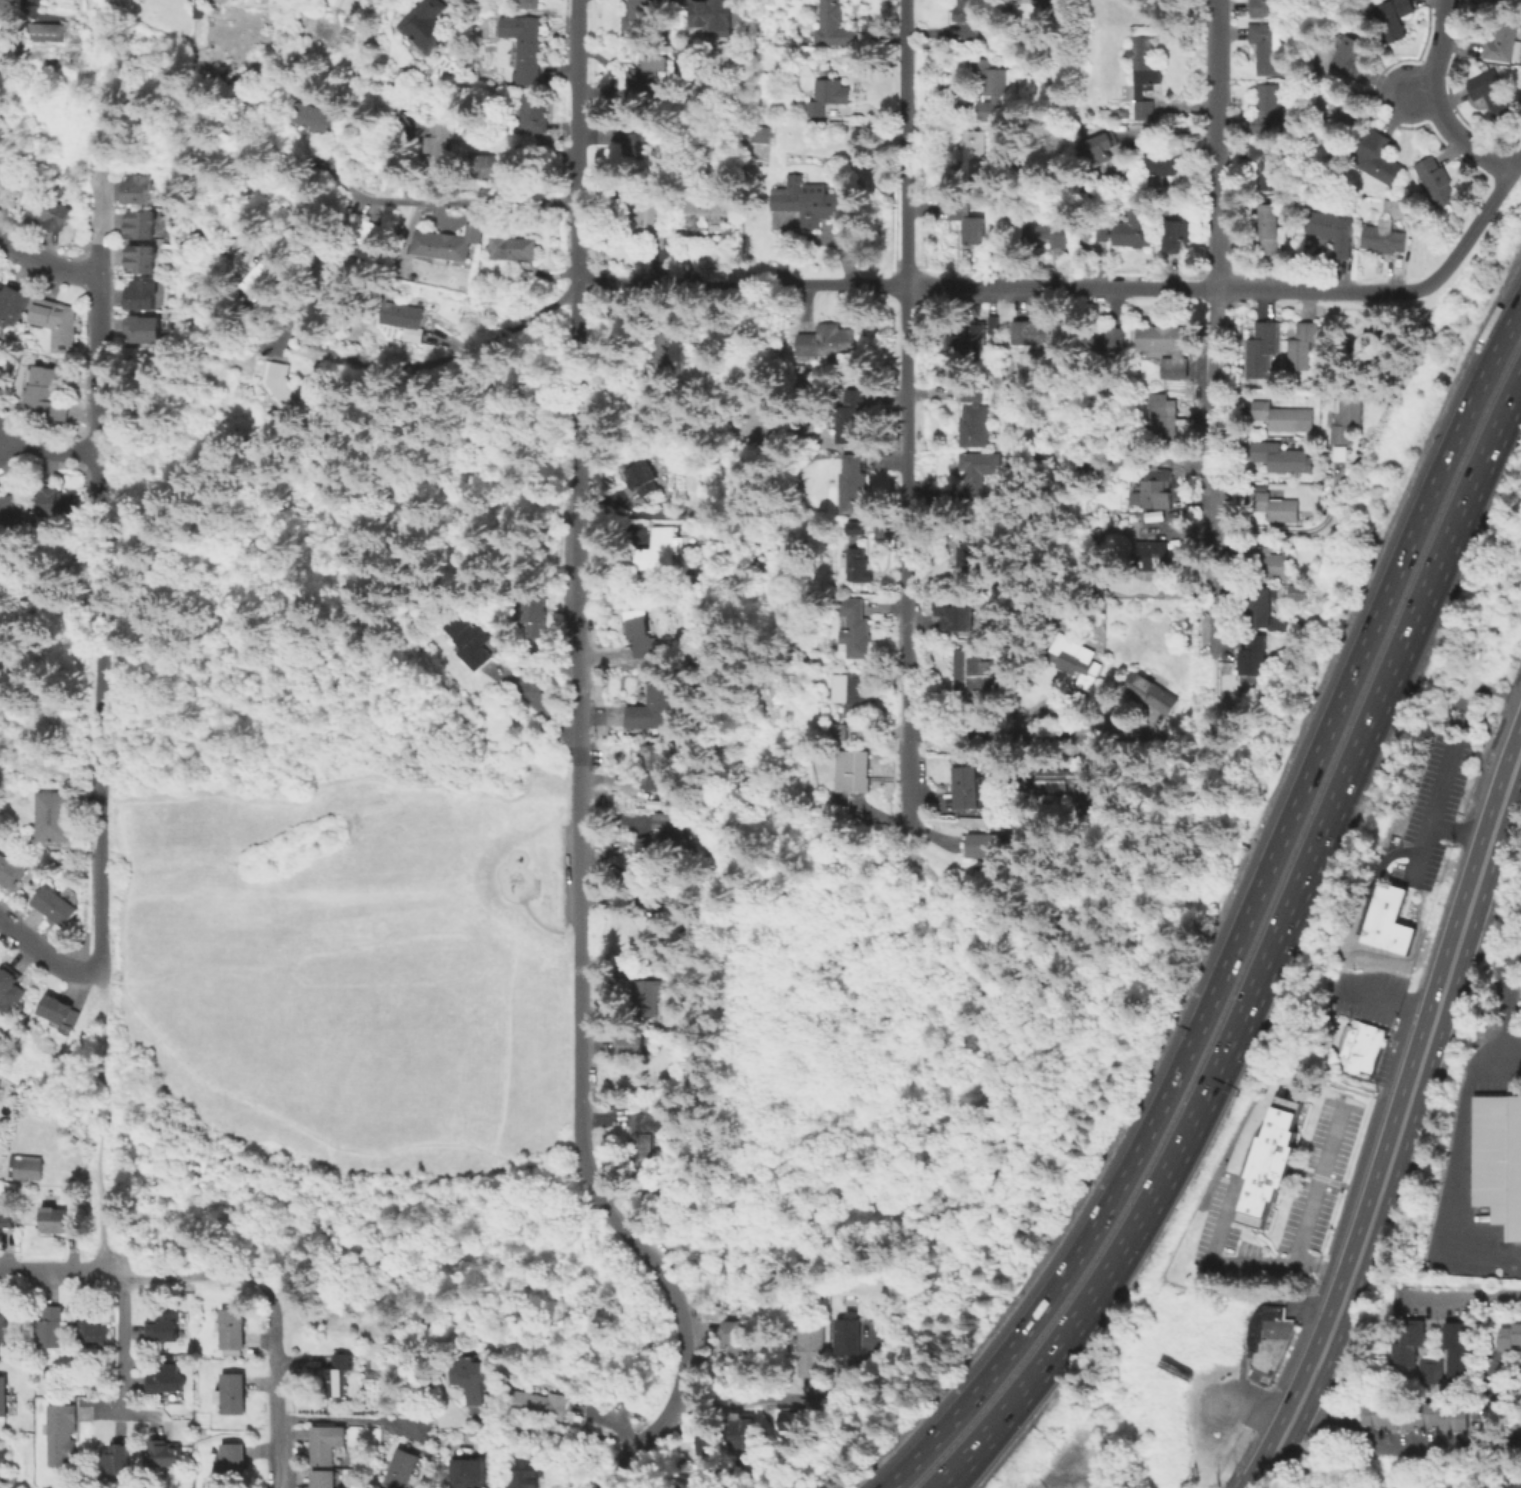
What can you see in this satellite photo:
building: (2, 3)
building: (529, 4)
building: (1050, 8)
building: (1267, 8)
building: (215, 11)
building: (710, 16)
building: (637, 18)
building: (970, 19)
building: (1401, 19)
building: (429, 24)
building: (833, 26)
building: (49, 32)
building: (1506, 36)
building: (525, 46)
building: (1270, 48)
building: (1352, 53)
building: (1146, 75)
building: (650, 78)
building: (991, 85)
road: (1422, 91)
building: (1495, 94)
building: (832, 95)
road: (1441, 102)
building: (1345, 110)
building: (1267, 111)
building: (1117, 113)
building: (529, 115)
building: (315, 117)
building: (762, 135)
building: (634, 141)
road: (904, 142)
road: (1217, 144)
building: (437, 146)
building: (1101, 147)
building: (973, 151)
building: (1380, 156)
building: (1166, 158)
building: (505, 164)
building: (1268, 165)
building: (1440, 181)
building: (11, 191)
building: (139, 191)
road: (470, 200)
building: (807, 200)
building: (710, 202)
building: (1398, 207)
building: (51, 213)
building: (647, 222)
building: (967, 223)
road: (1477, 223)
road: (99, 224)
building: (142, 227)
building: (1273, 229)
building: (373, 230)
building: (1126, 231)
building: (1335, 231)
building: (1047, 232)
building: (1179, 235)
road: (811, 236)
building: (1384, 238)
building: (451, 243)
building: (515, 248)
building: (142, 261)
road: (47, 262)
building: (270, 268)
road: (740, 283)
road: (1061, 286)
road: (1323, 290)
building: (141, 296)
building: (13, 304)
road: (99, 312)
building: (409, 316)
building: (57, 323)
building: (992, 325)
building: (144, 332)
building: (1038, 332)
building: (969, 341)
building: (1105, 341)
building: (829, 342)
building: (1375, 344)
storage tank: (1375, 344)
building: (1304, 345)
building: (673, 348)
building: (1168, 349)
building: (1262, 349)
building: (1344, 355)
building: (239, 360)
building: (807, 369)
road: (440, 371)
building: (1, 373)
water tower: (1344, 381)
building: (292, 391)
building: (45, 392)
building: (1277, 416)
building: (855, 417)
building: (973, 418)
building: (1163, 419)
building: (1350, 420)
road: (48, 448)
road: (98, 455)
building: (1278, 457)
building: (1094, 467)
building: (640, 473)
building: (978, 473)
road: (1215, 473)
road: (387, 479)
building: (854, 487)
building: (1156, 491)
building: (59, 502)
building: (14, 506)
building: (1279, 507)
building: (856, 529)
road: (1304, 530)
building: (661, 550)
road: (906, 555)
building: (971, 556)
building: (1157, 556)
building: (1273, 562)
building: (858, 564)
building: (704, 579)
building: (1299, 593)
building: (1265, 608)
building: (956, 615)
building: (541, 618)
building: (857, 629)
building: (641, 634)
building: (470, 640)
building: (1079, 655)
building: (1259, 656)
park: (42, 666)
building: (982, 672)
building: (854, 693)
building: (1155, 693)
building: (654, 706)
road: (993, 731)
road: (99, 765)
building: (657, 765)
road: (580, 772)
building: (856, 772)
building: (1059, 785)
building: (968, 789)
building: (1022, 789)
road: (1432, 806)
building: (55, 819)
building: (665, 819)
road: (1457, 832)
park: (340, 845)
building: (665, 846)
building: (991, 846)
building: (13, 871)
road: (913, 872)
building: (55, 908)
building: (670, 911)
road: (1244, 916)
building: (1388, 919)
road: (535, 921)
road: (851, 945)
road: (1268, 952)
road: (45, 957)
road: (100, 977)
building: (674, 982)
road: (106, 985)
road: (115, 986)
road: (1505, 988)
building: (10, 991)
building: (646, 996)
road: (1381, 1003)
building: (57, 1011)
building: (1359, 1046)
building: (637, 1047)
road: (102, 1064)
road: (1397, 1126)
building: (645, 1133)
road: (339, 1150)
building: (1499, 1158)
building: (1269, 1161)
building: (27, 1169)
road: (1457, 1171)
road: (1315, 1185)
road: (103, 1211)
road: (609, 1212)
building: (5, 1219)
building: (55, 1222)
road: (1341, 1249)
road: (1235, 1266)
road: (61, 1270)
road: (195, 1276)
road: (1463, 1300)
building: (881, 1312)
building: (91, 1327)
building: (52, 1329)
building: (165, 1329)
building: (233, 1329)
building: (5, 1334)
building: (848, 1335)
building: (1509, 1335)
building: (736, 1339)
building: (1266, 1340)
building: (1407, 1341)
road: (122, 1343)
building: (810, 1348)
building: (1457, 1353)
building: (1430, 1370)
building: (338, 1376)
building: (470, 1377)
building: (166, 1381)
road: (274, 1387)
building: (234, 1396)
building: (4, 1399)
road: (748, 1403)
building: (540, 1404)
building: (1415, 1415)
road: (345, 1418)
building: (1518, 1419)
building: (793, 1420)
building: (739, 1432)
building: (63, 1437)
road: (1421, 1440)
building: (707, 1442)
building: (328, 1443)
building: (165, 1455)
building: (117, 1461)
building: (233, 1463)
road: (727, 1470)
building: (406, 1471)
building: (526, 1472)
building: (6, 1473)
building: (473, 1473)
building: (326, 1479)
road: (1062, 1479)

